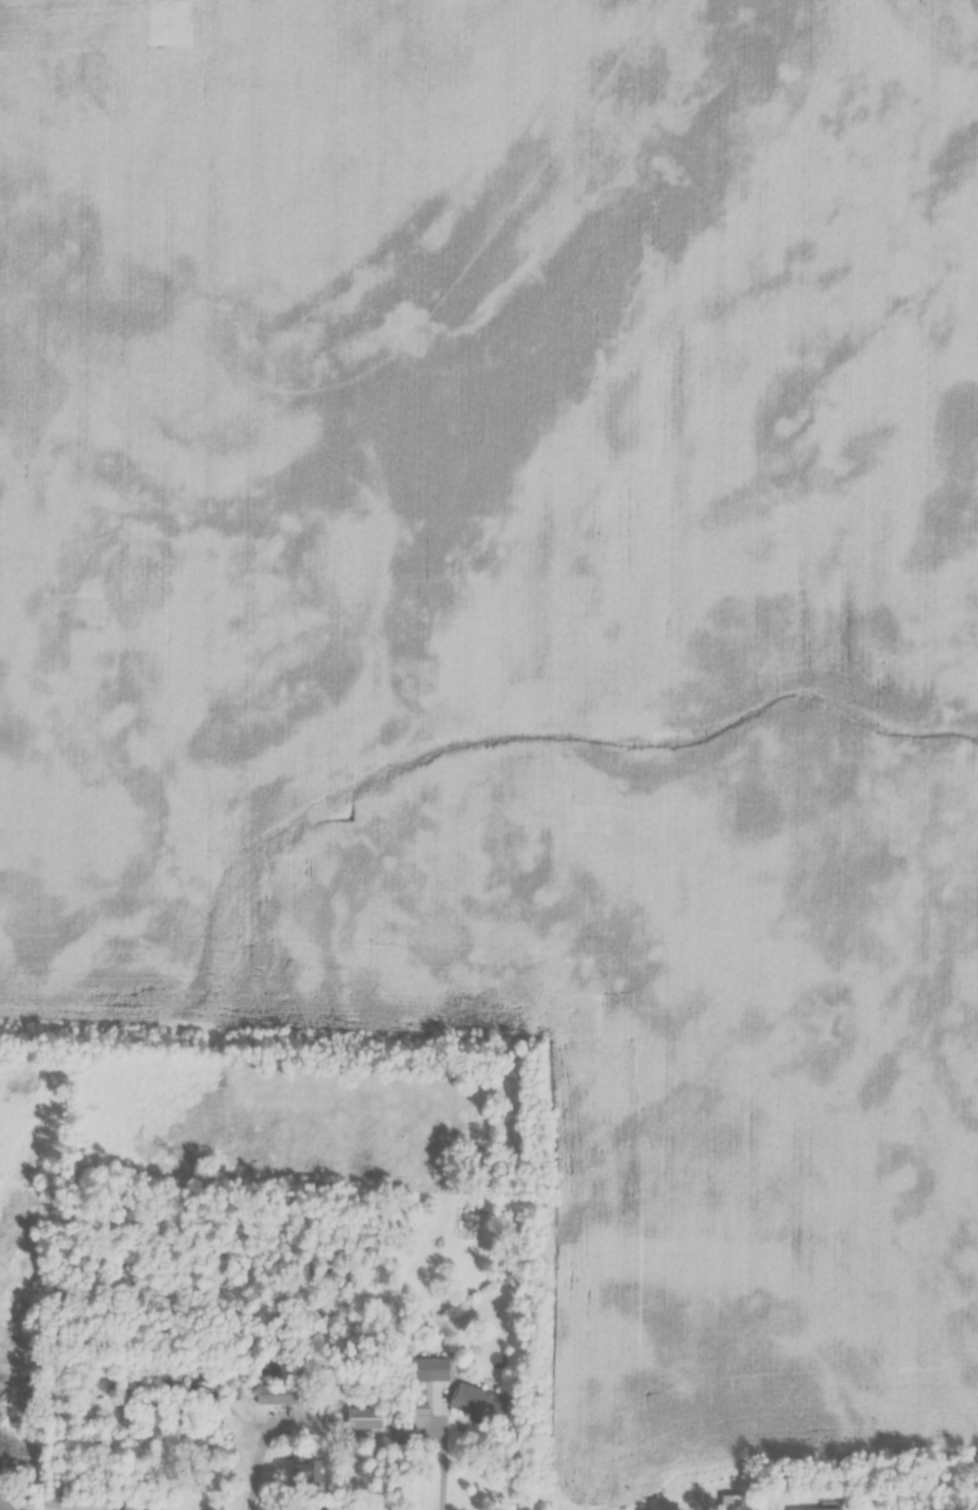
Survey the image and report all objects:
building: (429, 1369)
building: (277, 1394)
building: (478, 1403)
building: (363, 1417)
road: (265, 1443)
building: (301, 1470)
road: (442, 1475)
building: (811, 1509)

